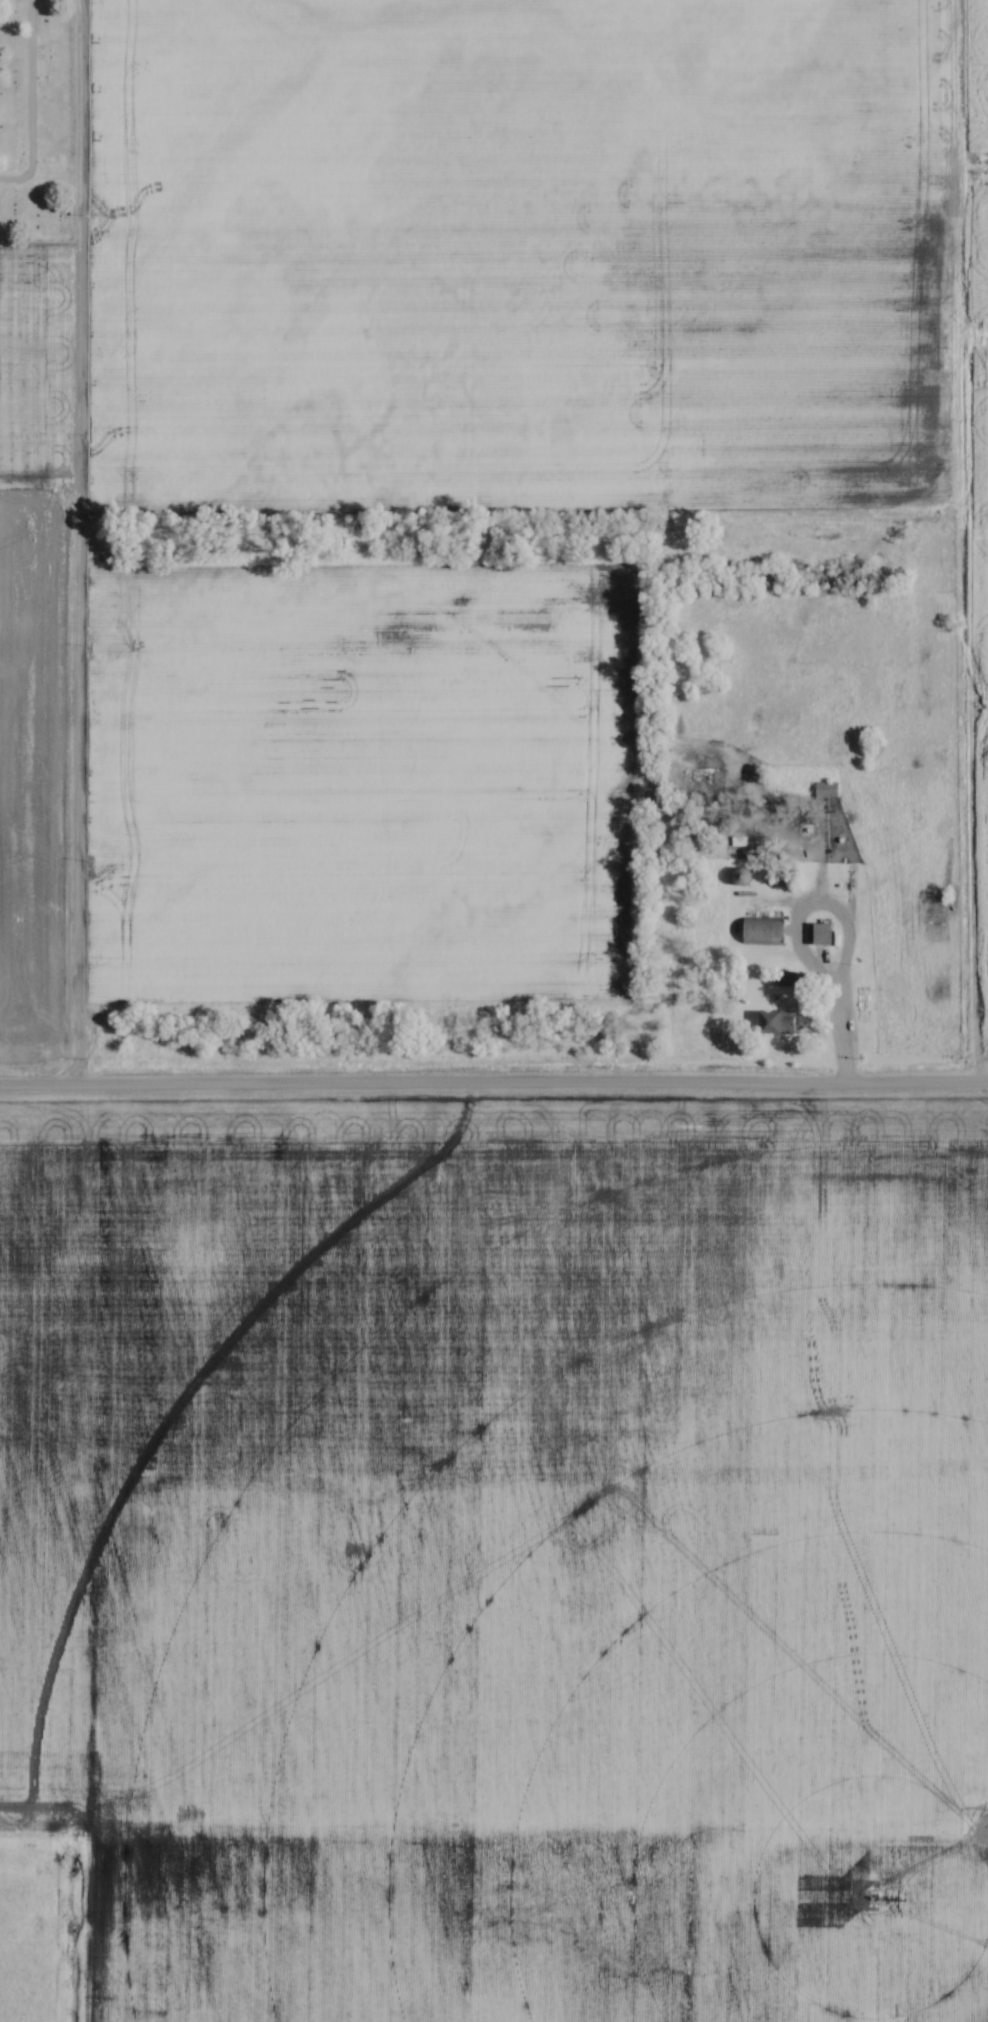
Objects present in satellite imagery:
road: (27, 102)
park: (39, 121)
building: (104, 560)
building: (826, 789)
building: (742, 877)
building: (763, 931)
road: (845, 931)
building: (821, 934)
building: (787, 979)
building: (777, 1023)
road: (840, 1037)
road: (494, 1091)

